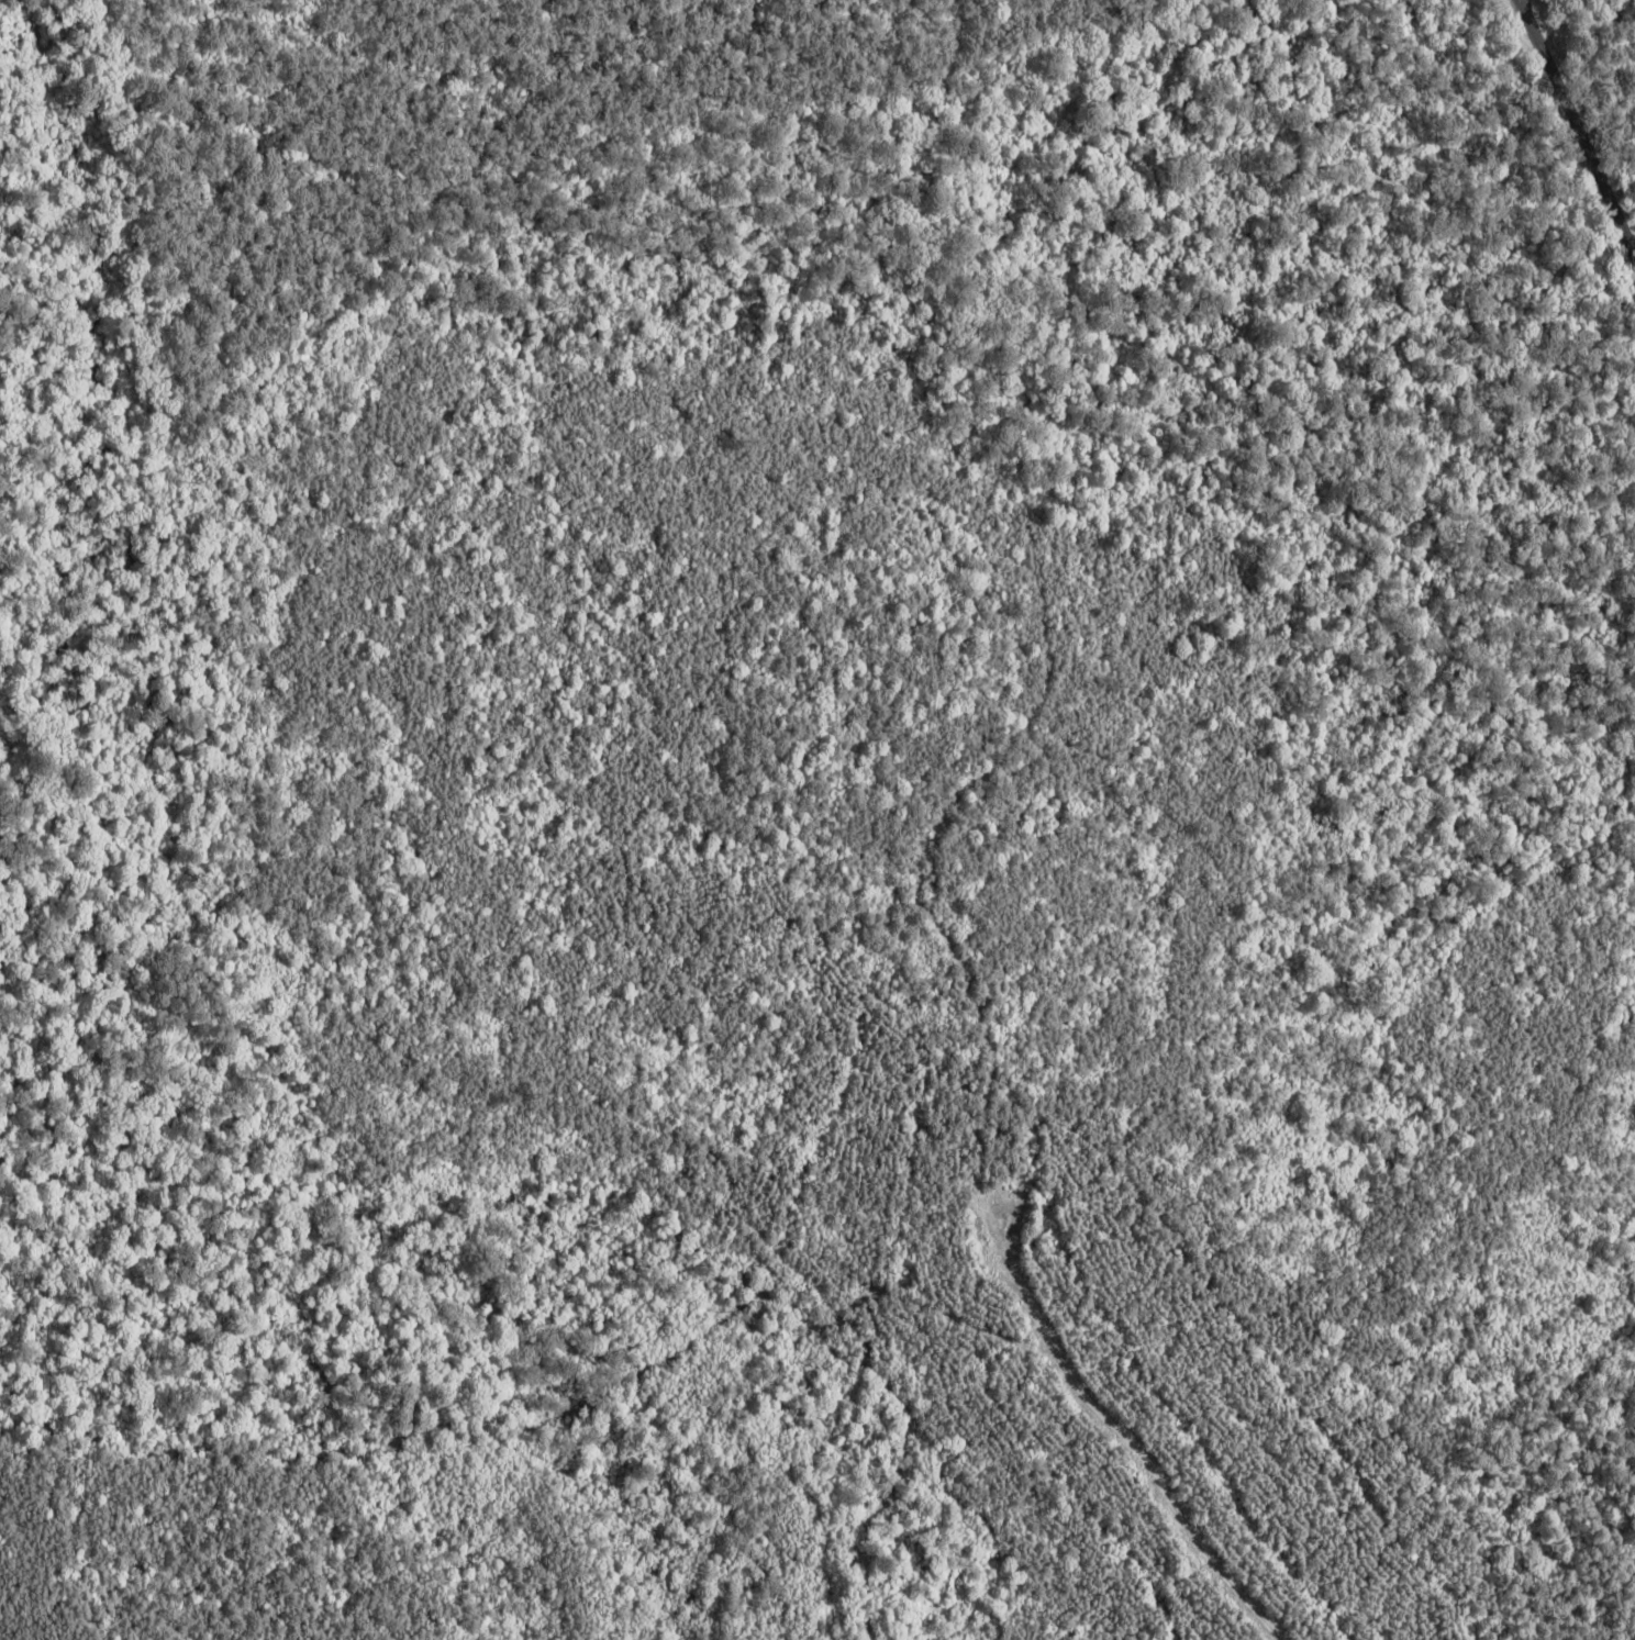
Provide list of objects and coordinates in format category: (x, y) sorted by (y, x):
road: (540, 89)
road: (1580, 124)
road: (1627, 215)
road: (779, 220)
road: (924, 388)
road: (932, 897)
road: (1131, 1438)

